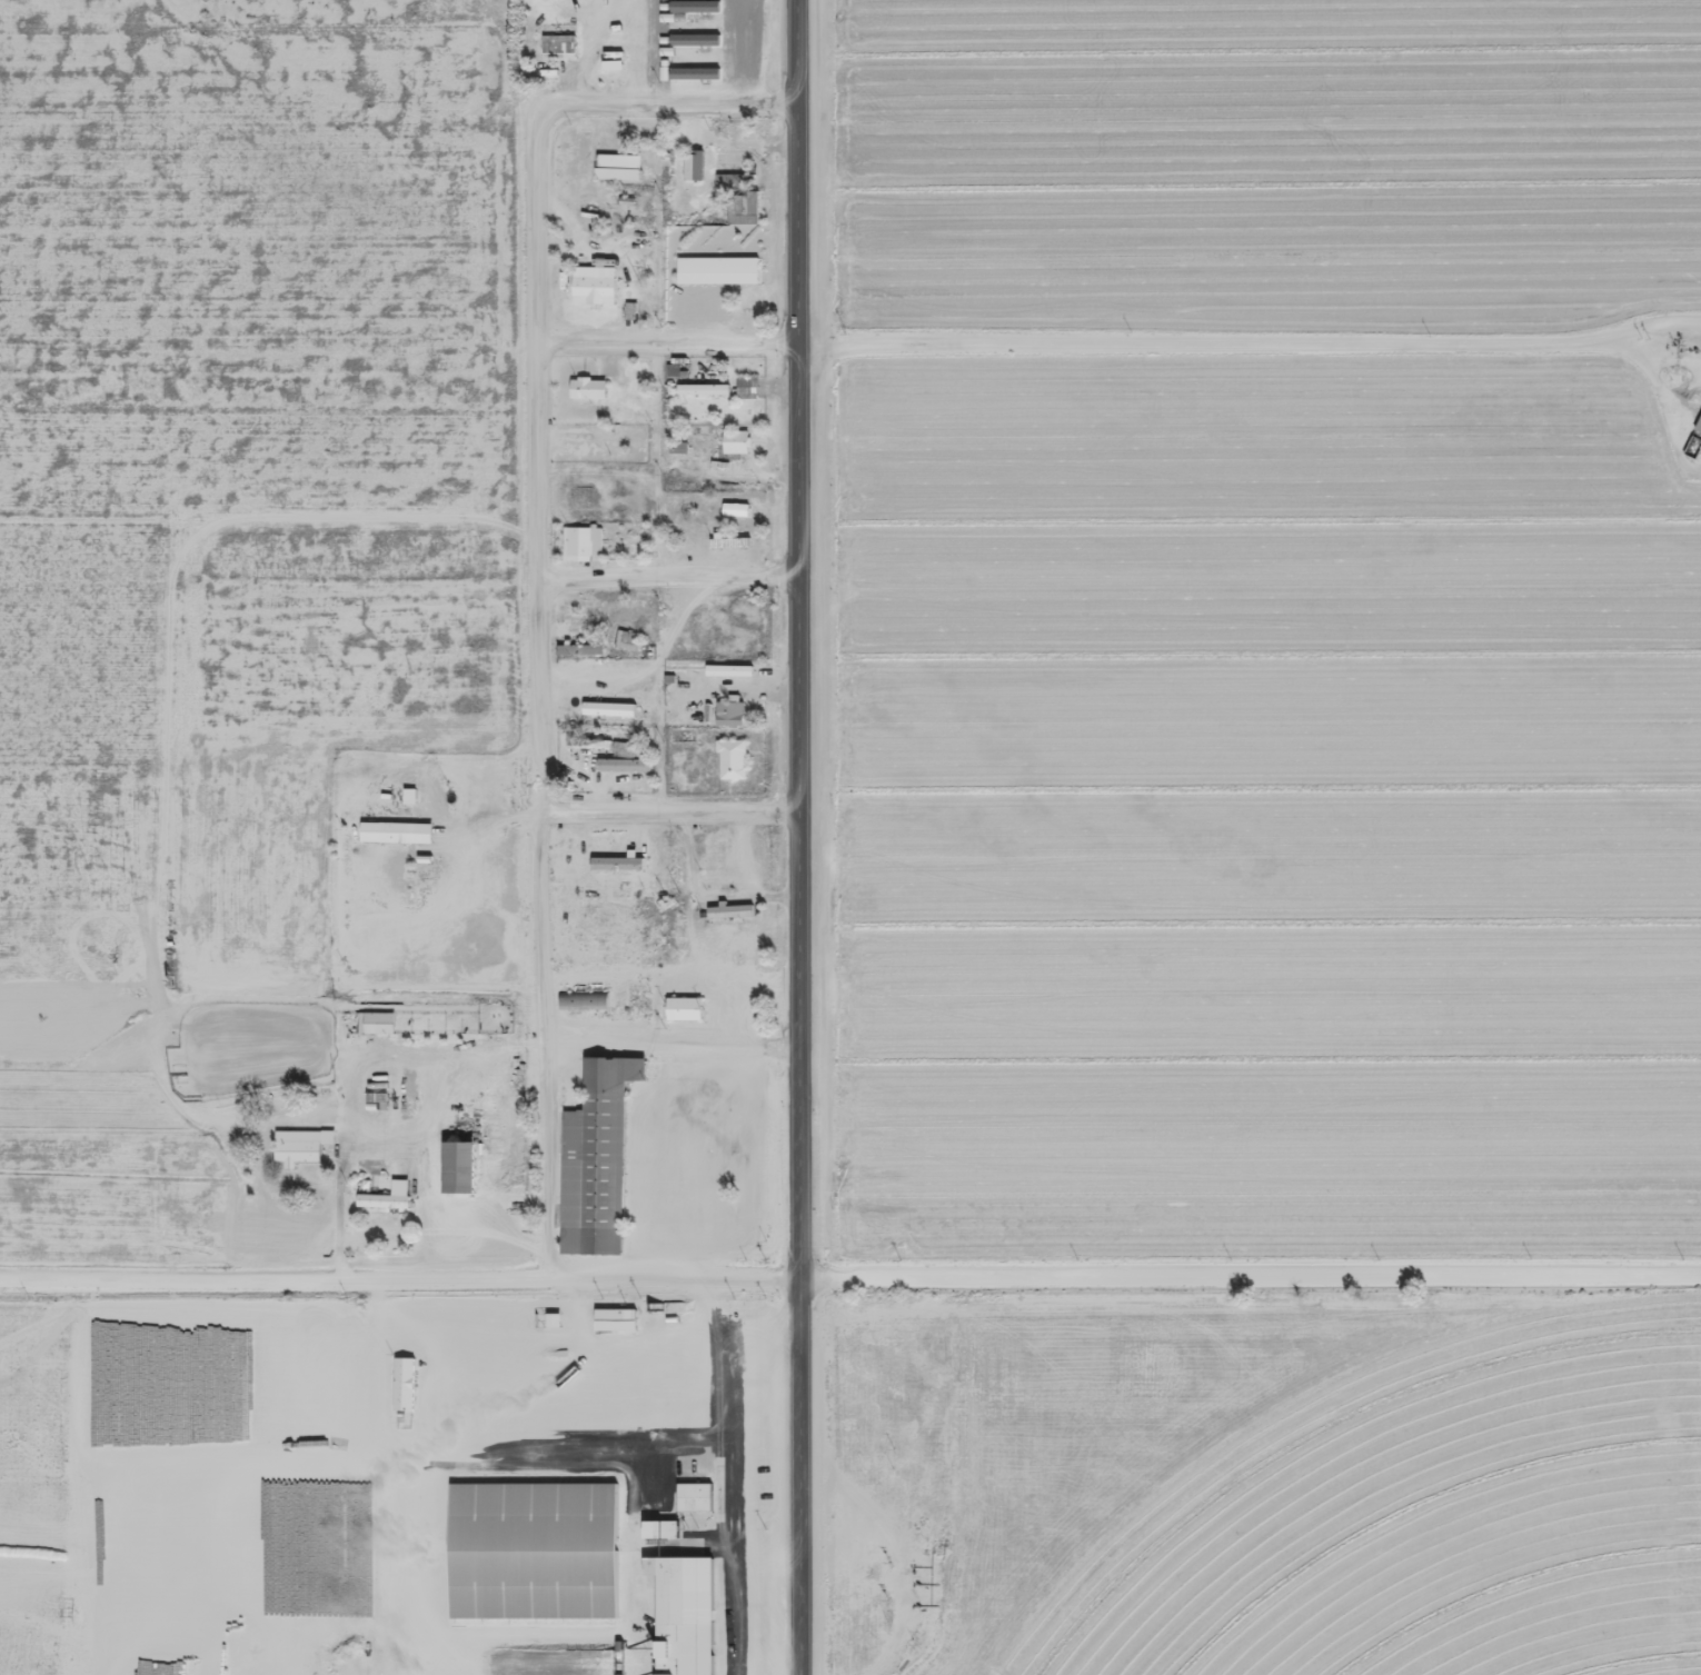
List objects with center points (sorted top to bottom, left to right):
building: (694, 3)
building: (695, 31)
building: (557, 46)
building: (693, 63)
road: (656, 102)
building: (618, 160)
building: (692, 164)
building: (739, 195)
building: (717, 257)
building: (594, 278)
road: (1249, 340)
road: (665, 341)
building: (587, 380)
building: (746, 387)
building: (1697, 416)
building: (734, 441)
building: (734, 509)
building: (583, 535)
road: (666, 579)
road: (796, 638)
building: (625, 639)
building: (580, 642)
road: (539, 707)
building: (608, 708)
building: (728, 711)
building: (587, 741)
building: (627, 748)
building: (733, 752)
building: (409, 796)
road: (669, 811)
building: (386, 831)
building: (615, 869)
building: (730, 905)
building: (581, 999)
building: (683, 1008)
building: (379, 1016)
road: (672, 1048)
building: (375, 1096)
building: (742, 1114)
building: (301, 1138)
building: (599, 1147)
building: (456, 1155)
building: (386, 1189)
road: (1251, 1267)
road: (276, 1276)
road: (676, 1277)
building: (614, 1320)
building: (405, 1376)
road: (802, 1475)
building: (692, 1488)
building: (397, 1503)
building: (658, 1529)
crop: (1436, 1531)
building: (531, 1542)
building: (682, 1608)

